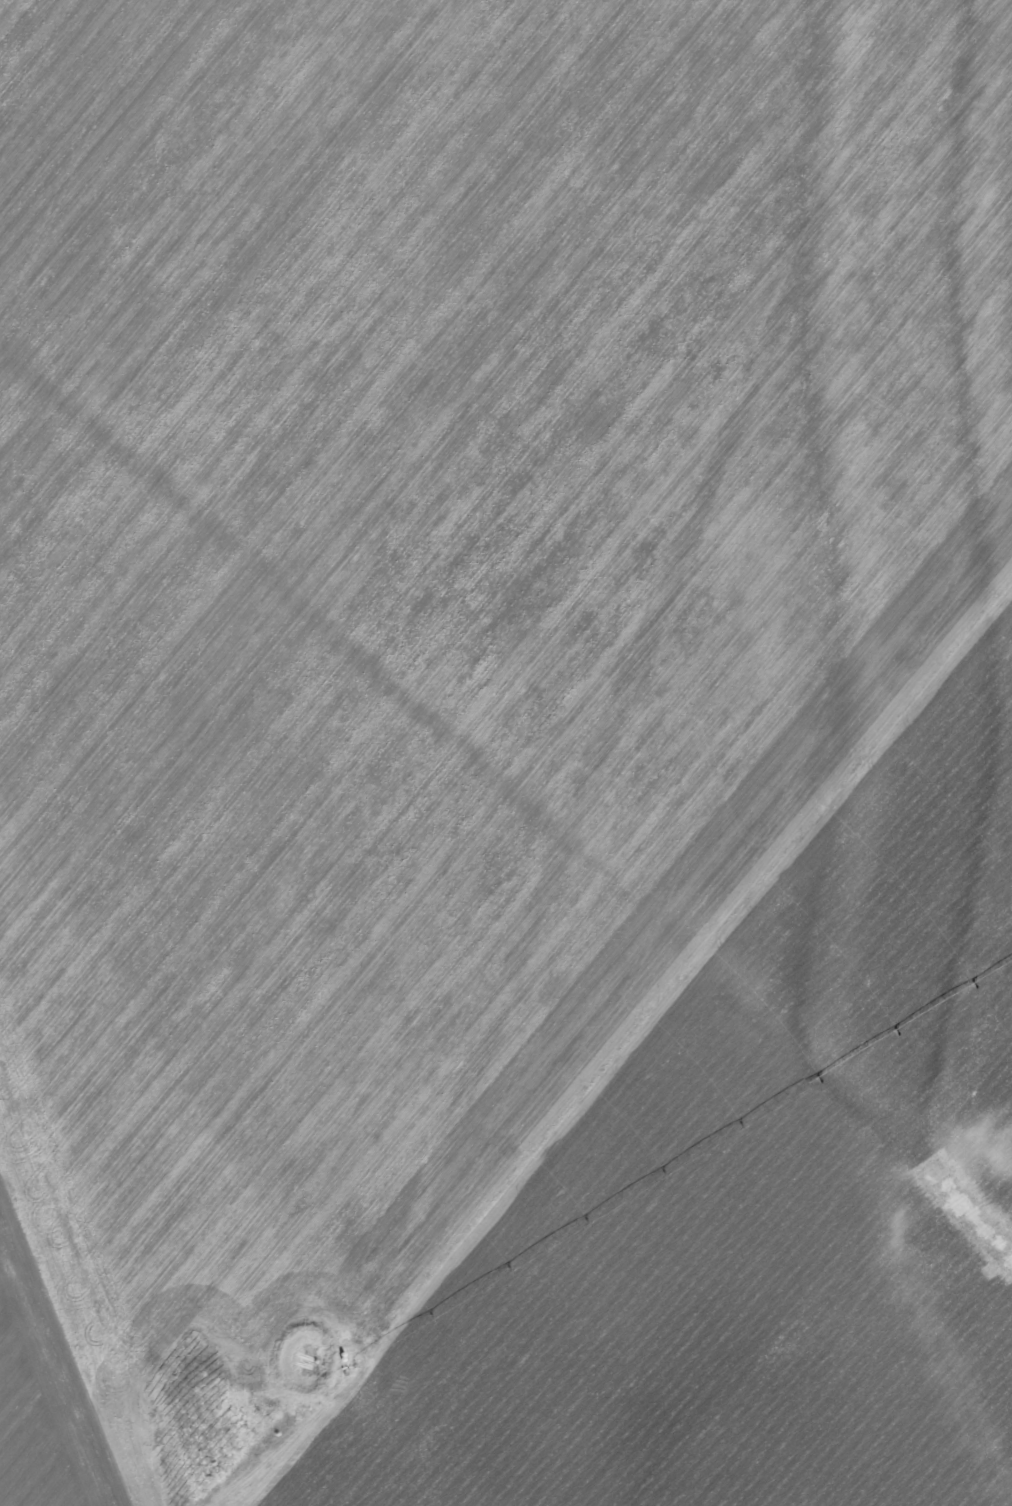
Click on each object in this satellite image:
road: (434, 781)
road: (935, 1353)

